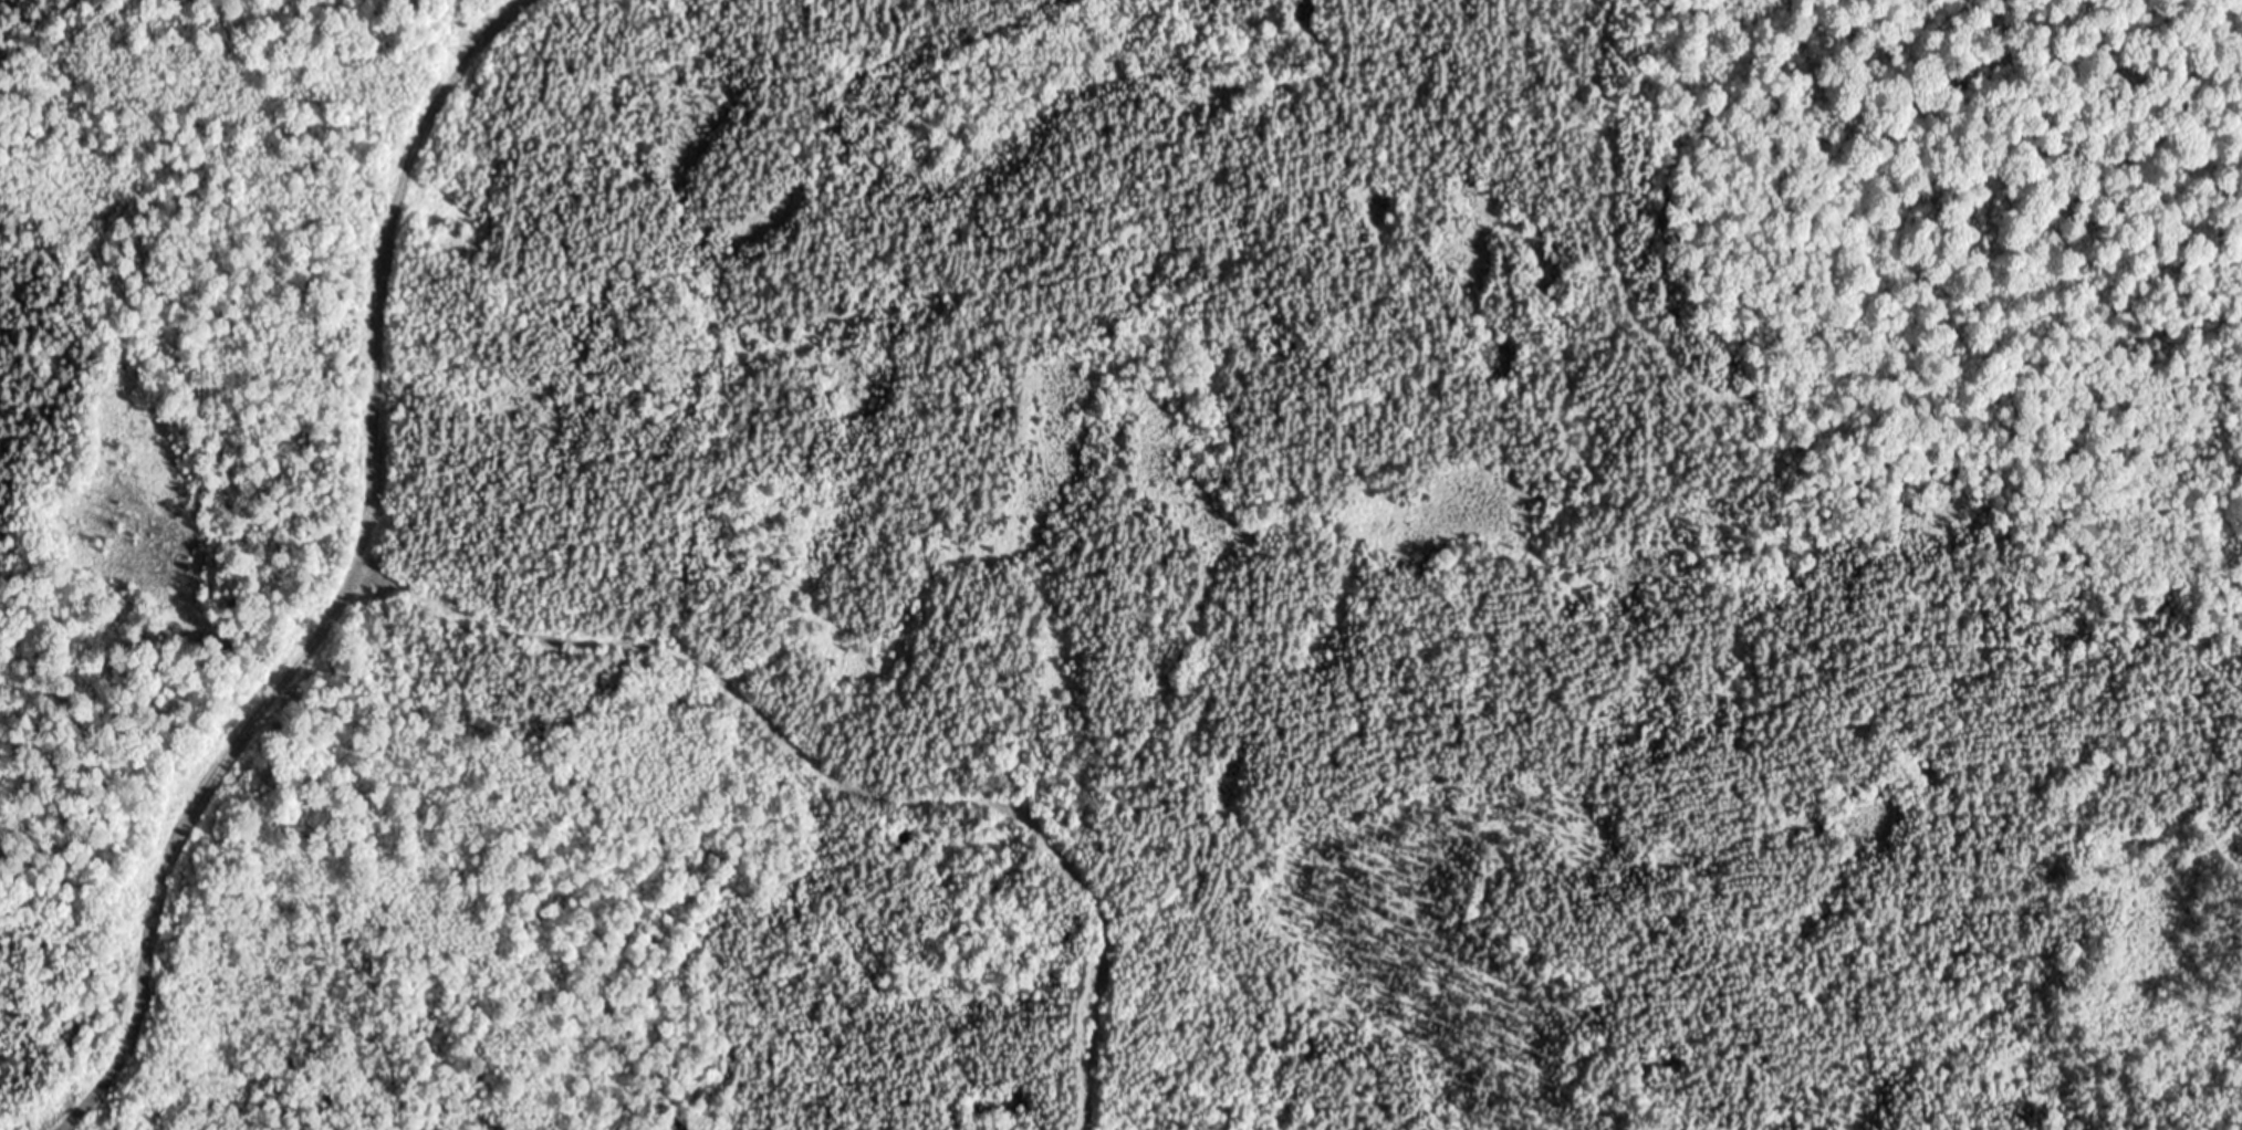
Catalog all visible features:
road: (337, 586)

